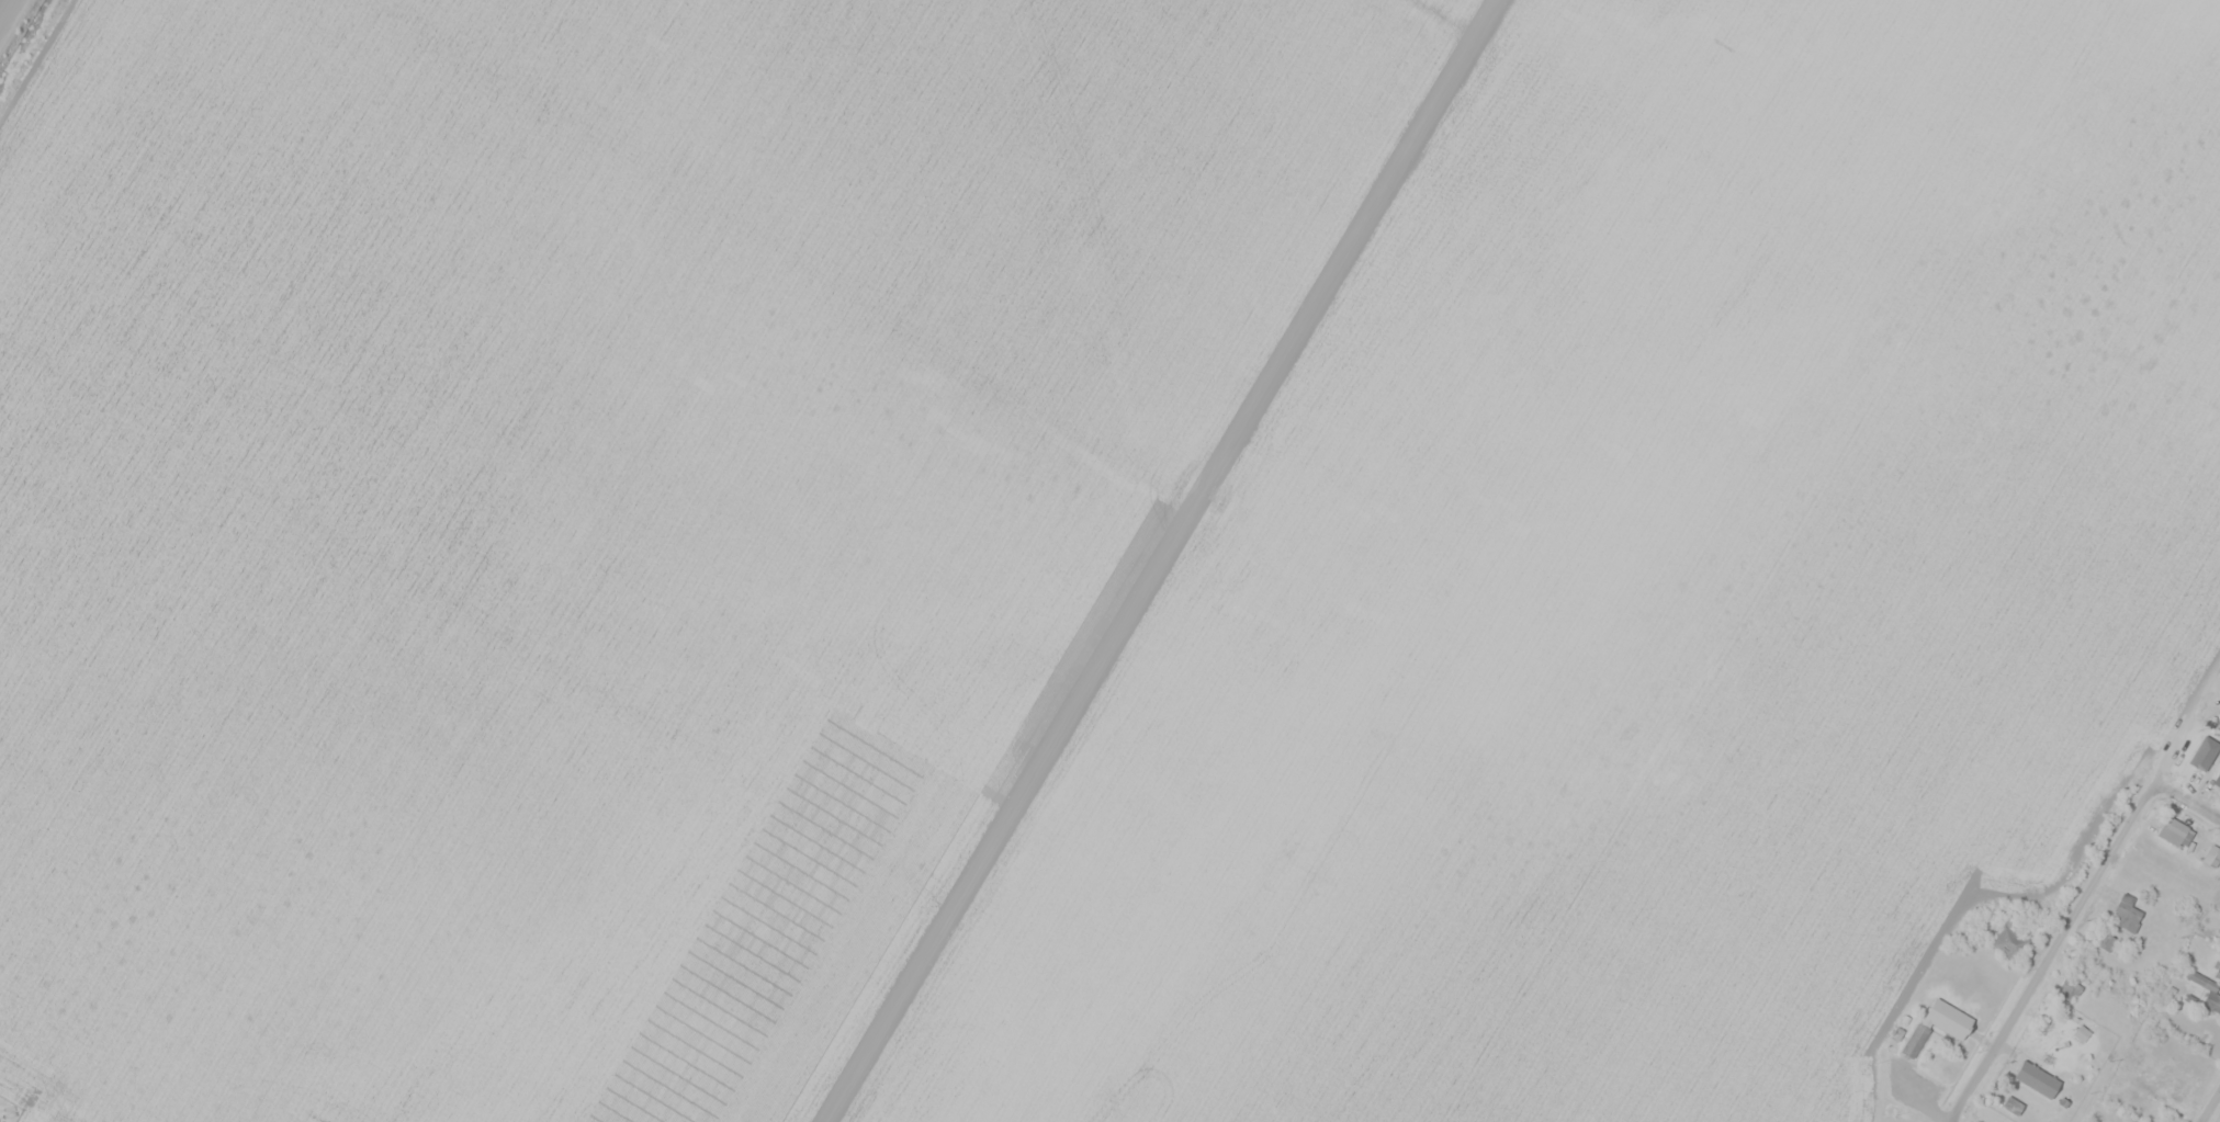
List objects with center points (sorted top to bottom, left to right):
road: (9, 15)
road: (2187, 721)
building: (2199, 757)
building: (2217, 779)
road: (2187, 800)
building: (2175, 831)
building: (2212, 855)
building: (2126, 914)
building: (2008, 943)
road: (2056, 951)
building: (2070, 986)
building: (2207, 991)
building: (1938, 1024)
building: (2137, 1057)
building: (2039, 1080)
building: (2182, 1084)
building: (2011, 1104)
road: (2211, 1107)

